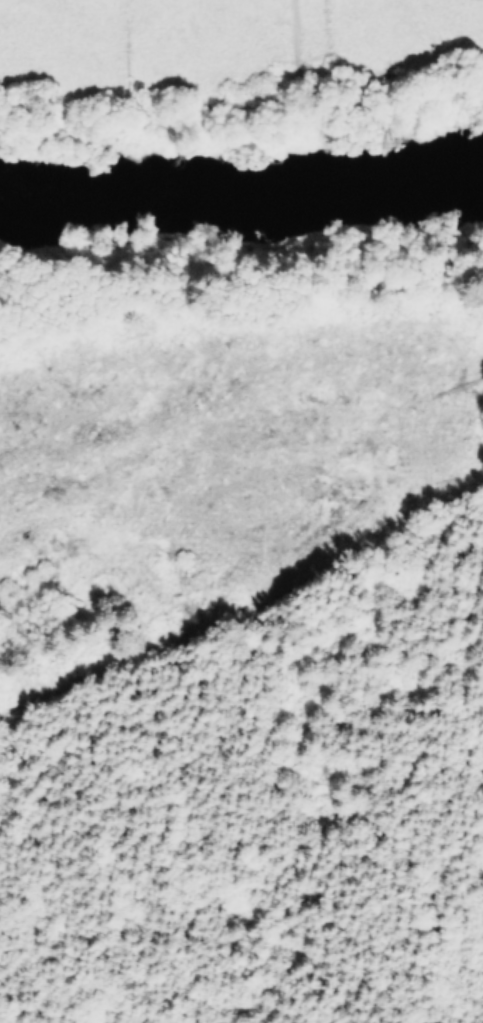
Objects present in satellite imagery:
crop: (237, 40)
river: (241, 194)

